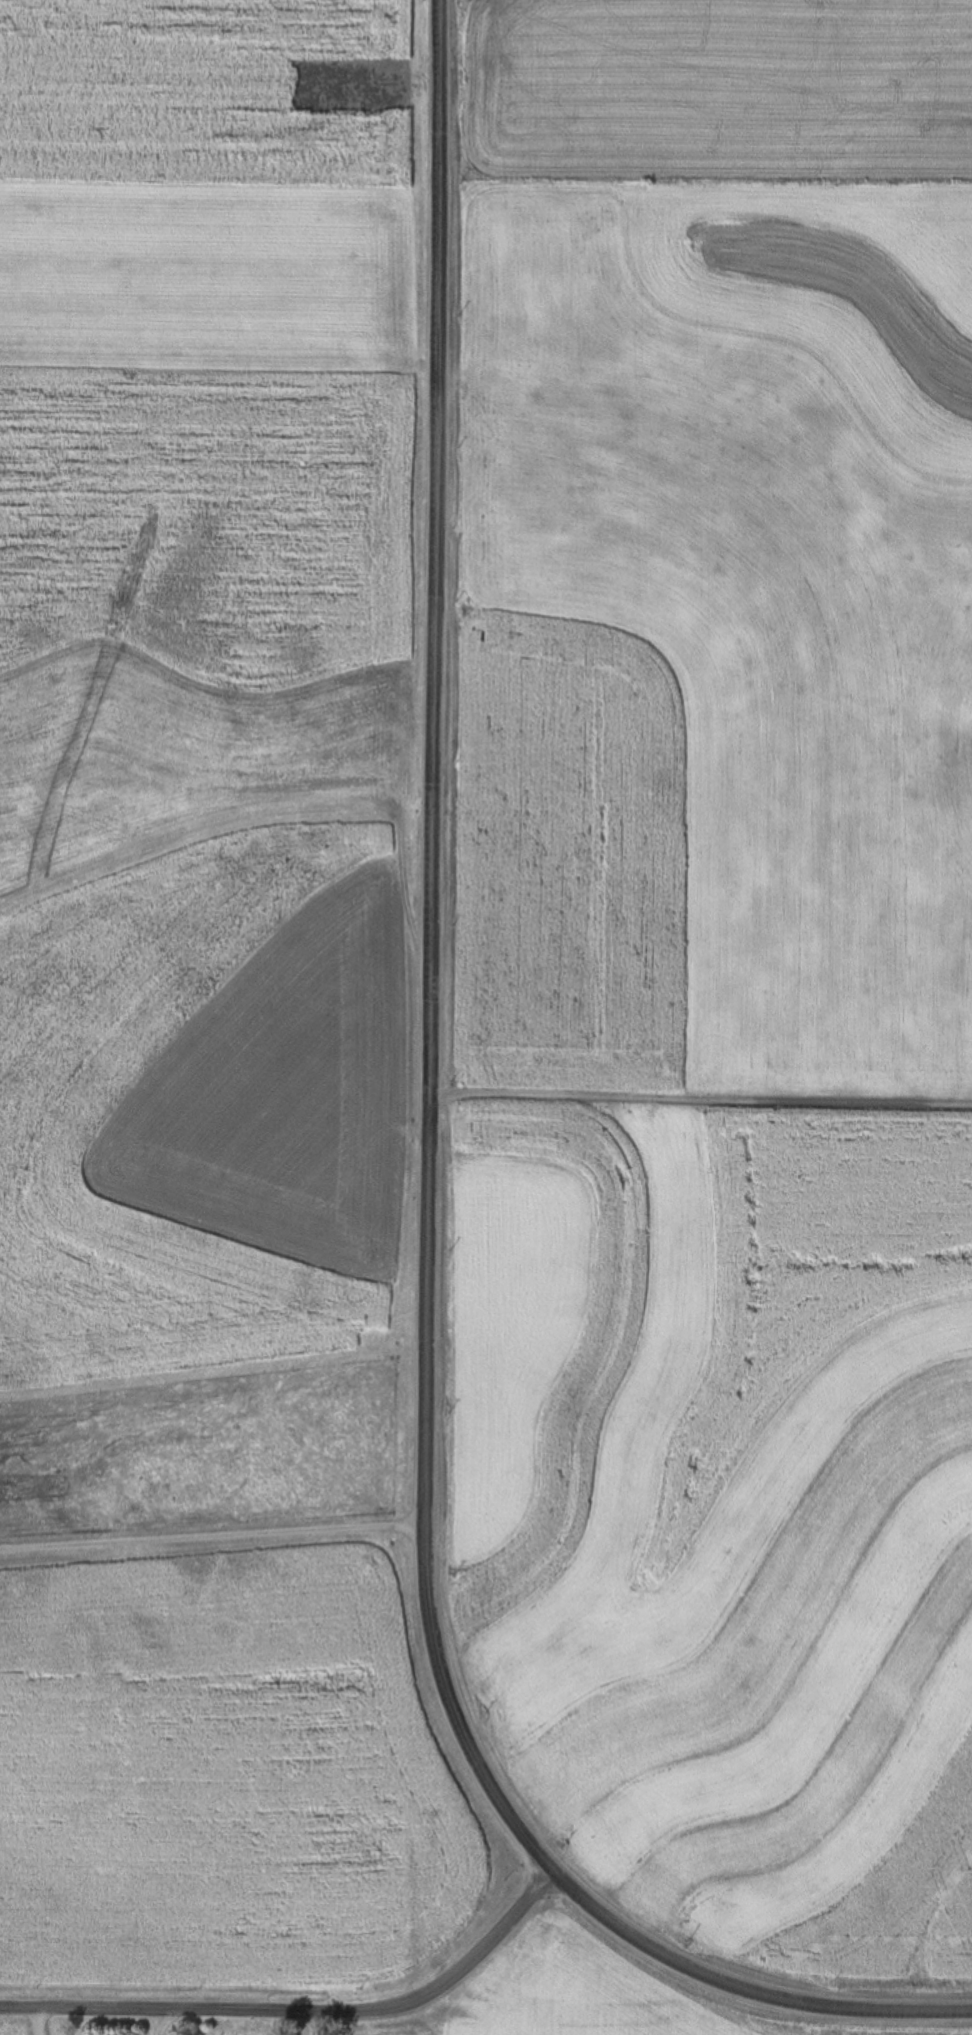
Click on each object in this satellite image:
road: (432, 946)
road: (210, 1531)
road: (740, 1986)
road: (300, 2016)
road: (34, 2023)
road: (154, 2024)
road: (298, 2025)

